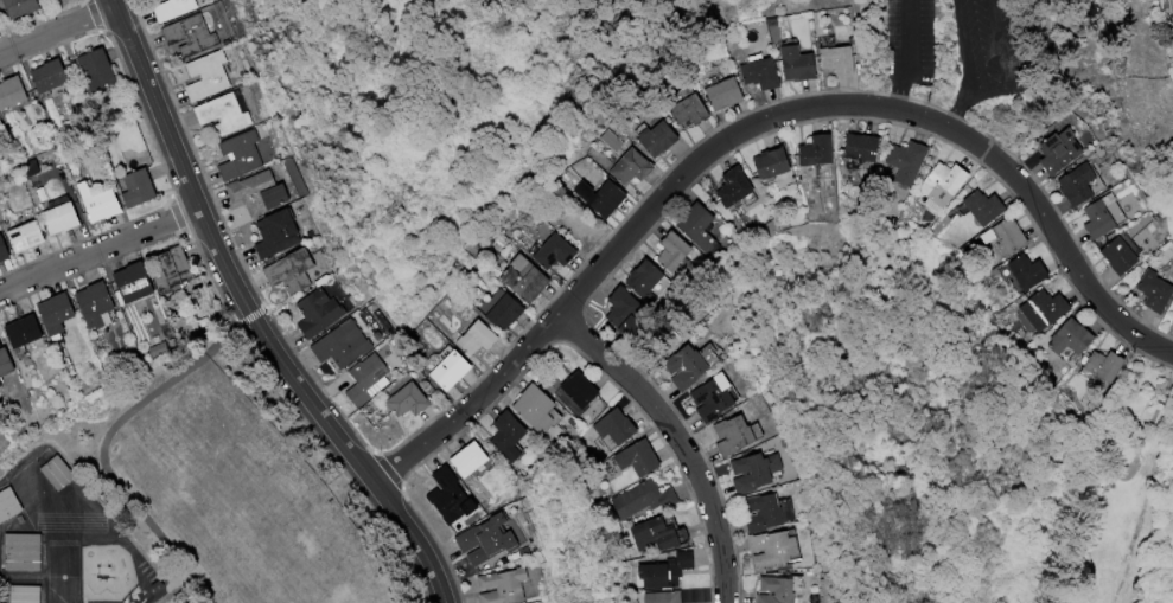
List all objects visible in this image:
building: (23, 7)
building: (173, 8)
building: (0, 24)
road: (59, 32)
building: (195, 36)
road: (916, 56)
building: (846, 59)
building: (804, 63)
road: (1013, 65)
road: (969, 68)
building: (98, 71)
building: (766, 73)
building: (212, 76)
building: (50, 77)
building: (13, 94)
building: (729, 94)
building: (695, 113)
building: (227, 115)
road: (754, 126)
building: (663, 139)
building: (867, 148)
building: (1072, 149)
building: (243, 156)
building: (820, 160)
building: (911, 162)
building: (637, 166)
building: (778, 168)
building: (948, 184)
building: (1089, 184)
building: (139, 190)
building: (254, 193)
building: (281, 197)
building: (605, 197)
building: (747, 199)
building: (103, 205)
building: (986, 207)
building: (63, 219)
building: (1108, 220)
building: (703, 226)
building: (280, 233)
building: (28, 237)
building: (1011, 237)
building: (5, 250)
road: (101, 251)
building: (556, 252)
building: (1127, 256)
building: (683, 257)
building: (174, 269)
building: (294, 271)
building: (1029, 271)
building: (527, 278)
building: (645, 281)
building: (134, 287)
building: (1159, 290)
building: (98, 306)
building: (1046, 309)
building: (630, 310)
building: (320, 313)
building: (506, 313)
building: (60, 314)
road: (254, 317)
building: (26, 332)
building: (478, 339)
building: (1073, 339)
building: (343, 346)
building: (7, 361)
building: (693, 364)
building: (1107, 365)
building: (452, 371)
building: (370, 379)
building: (582, 390)
building: (719, 397)
building: (412, 402)
building: (538, 409)
building: (618, 429)
building: (738, 436)
building: (512, 437)
road: (680, 440)
park: (948, 450)
building: (636, 460)
building: (473, 461)
building: (758, 473)
building: (454, 499)
building: (637, 500)
building: (7, 503)
building: (770, 513)
building: (661, 535)
building: (491, 544)
building: (778, 551)
building: (23, 552)
building: (668, 571)
building: (509, 586)
building: (782, 590)
building: (26, 594)
building: (663, 597)

